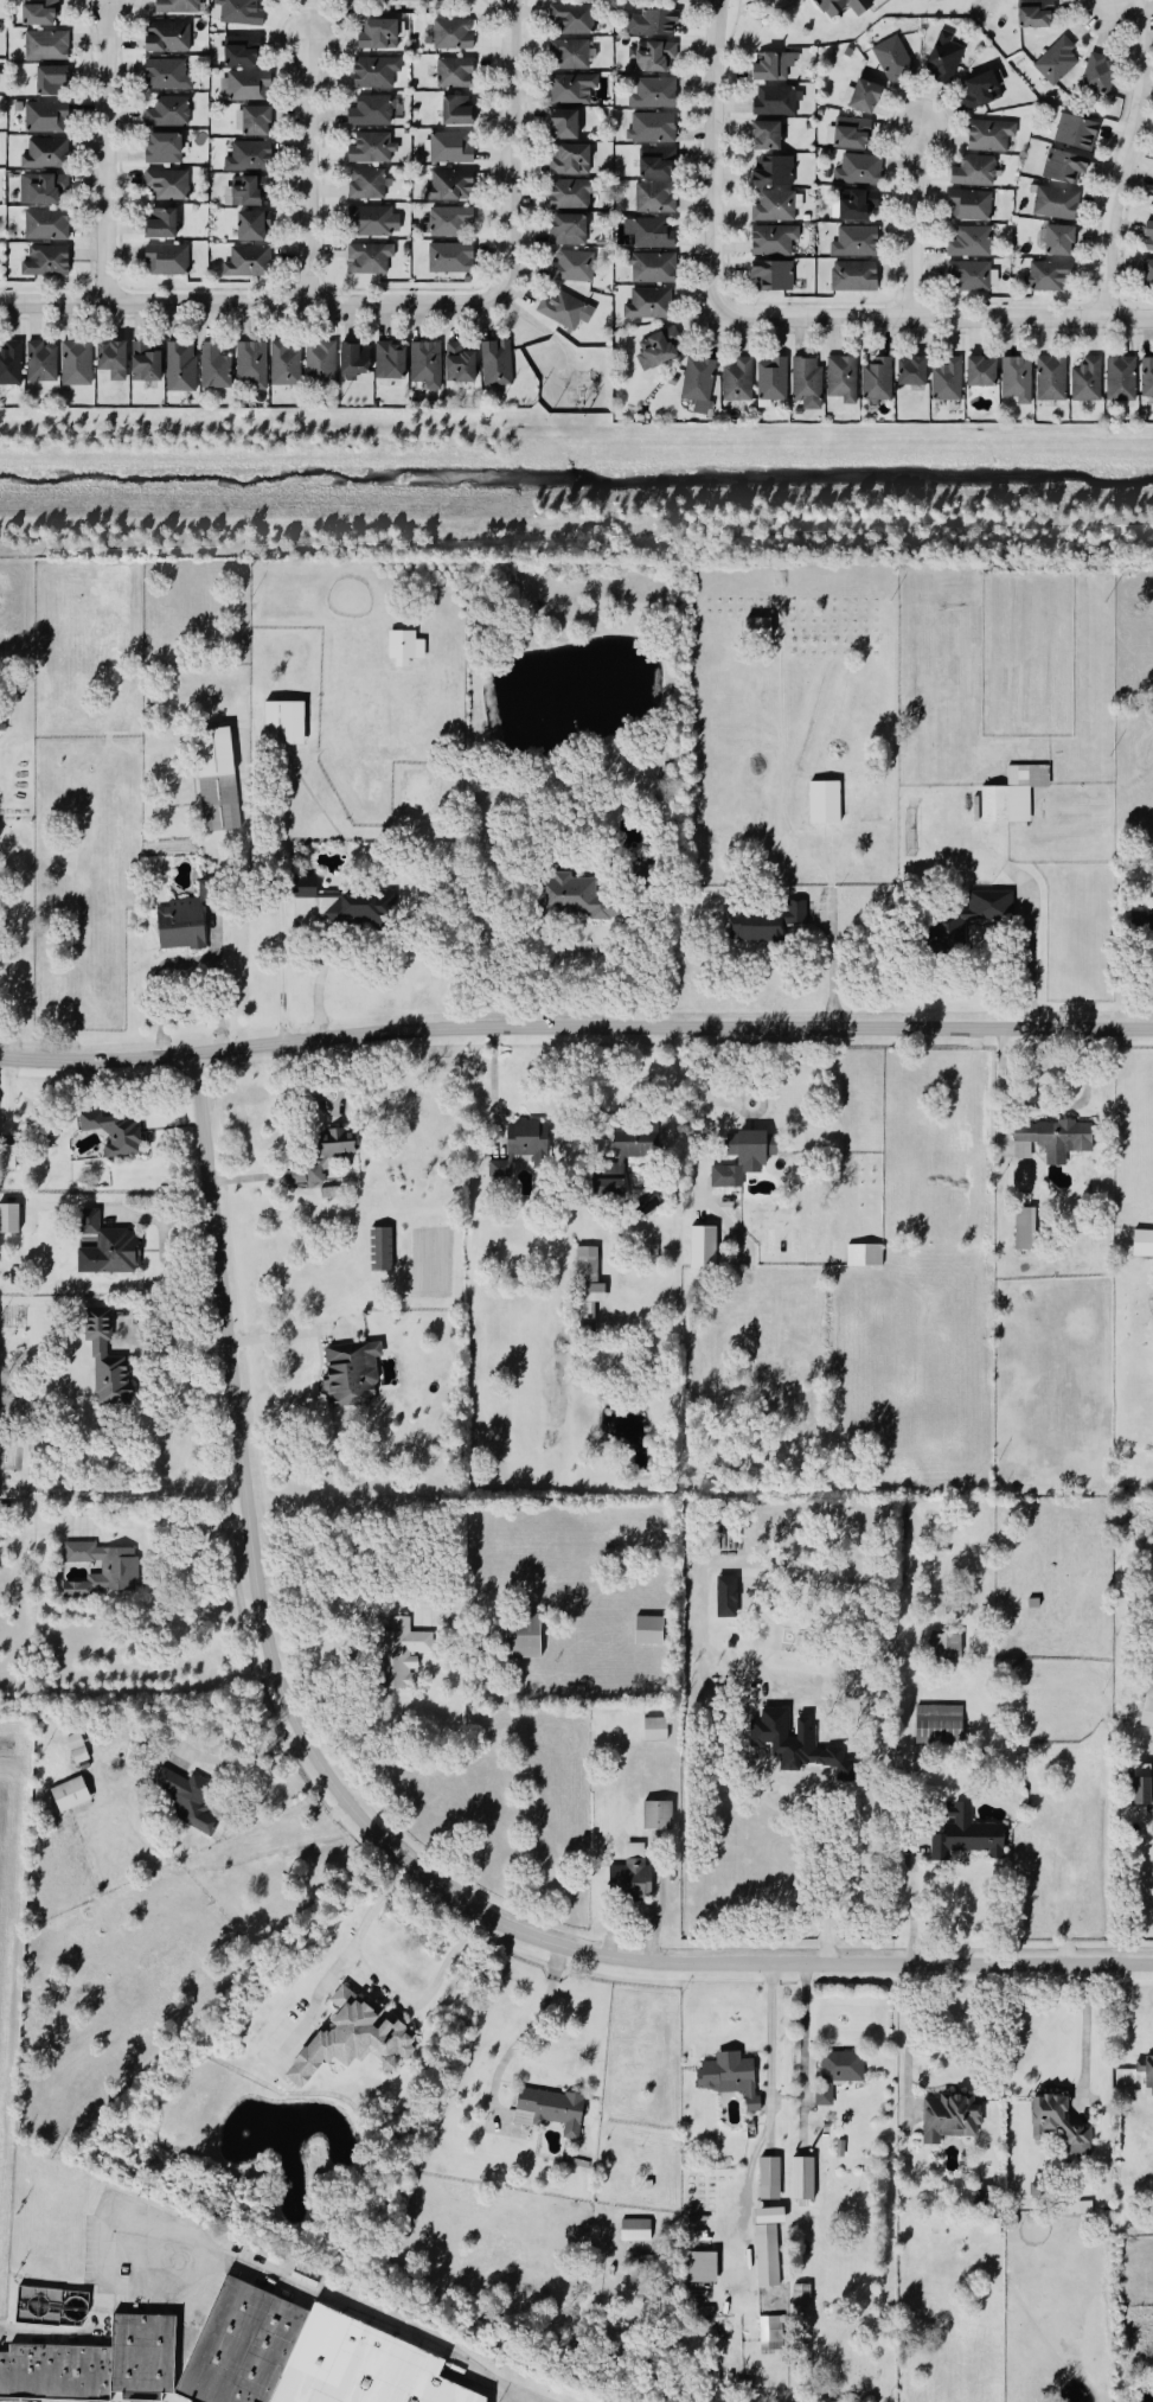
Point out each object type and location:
road: (1120, 5)
building: (178, 6)
building: (844, 6)
building: (39, 12)
building: (241, 12)
building: (1036, 13)
building: (574, 18)
park: (827, 19)
building: (653, 24)
building: (379, 34)
building: (453, 34)
building: (167, 38)
building: (47, 46)
building: (242, 51)
building: (572, 55)
building: (656, 57)
building: (944, 58)
building: (895, 60)
building: (1057, 60)
building: (774, 65)
building: (376, 72)
building: (455, 72)
building: (1100, 74)
building: (167, 75)
building: (51, 81)
building: (244, 87)
building: (572, 89)
building: (982, 89)
building: (654, 94)
building: (863, 96)
building: (777, 101)
building: (457, 110)
building: (373, 111)
building: (168, 113)
building: (46, 117)
building: (257, 121)
building: (565, 124)
building: (652, 128)
building: (1077, 132)
building: (852, 133)
building: (767, 135)
building: (991, 135)
road: (508, 147)
building: (164, 148)
building: (372, 148)
building: (451, 148)
road: (104, 153)
building: (46, 154)
building: (250, 156)
road: (711, 158)
road: (1122, 158)
building: (571, 160)
building: (658, 162)
building: (1065, 166)
building: (859, 170)
building: (775, 171)
building: (975, 171)
road: (306, 173)
building: (168, 184)
building: (369, 185)
building: (450, 186)
building: (43, 187)
building: (246, 190)
building: (572, 193)
building: (655, 198)
building: (1057, 203)
building: (859, 204)
building: (971, 205)
building: (775, 206)
building: (372, 222)
building: (449, 222)
road: (909, 222)
building: (162, 224)
building: (47, 225)
building: (252, 225)
building: (569, 230)
building: (649, 234)
building: (1149, 238)
building: (774, 241)
building: (1061, 241)
building: (856, 242)
building: (971, 243)
building: (370, 258)
building: (451, 258)
building: (168, 260)
building: (46, 261)
building: (248, 262)
building: (574, 267)
building: (653, 268)
building: (775, 275)
building: (1147, 275)
building: (854, 276)
building: (1050, 276)
building: (972, 277)
road: (249, 304)
building: (649, 304)
building: (565, 311)
road: (931, 318)
building: (660, 350)
building: (633, 352)
building: (354, 359)
building: (113, 360)
building: (41, 362)
building: (391, 362)
building: (146, 363)
building: (497, 363)
building: (11, 364)
building: (77, 364)
building: (286, 364)
building: (321, 364)
building: (427, 364)
building: (460, 364)
building: (251, 365)
building: (181, 366)
building: (216, 368)
building: (912, 371)
building: (981, 372)
building: (1147, 378)
building: (878, 379)
building: (1051, 379)
building: (1121, 379)
building: (738, 381)
building: (773, 381)
building: (839, 381)
building: (948, 381)
building: (1014, 381)
building: (1088, 381)
building: (807, 383)
building: (696, 385)
building: (405, 647)
building: (282, 723)
building: (214, 781)
building: (1011, 796)
building: (822, 804)
building: (659, 811)
building: (638, 876)
road: (282, 897)
building: (572, 899)
building: (340, 903)
building: (962, 919)
building: (182, 922)
building: (763, 922)
building: (1145, 925)
road: (1036, 938)
road: (17, 952)
road: (186, 960)
road: (324, 971)
road: (829, 975)
road: (575, 1029)
road: (493, 1084)
road: (706, 1090)
road: (1053, 1112)
building: (114, 1135)
building: (1052, 1138)
building: (525, 1141)
building: (748, 1144)
building: (598, 1146)
building: (6, 1158)
building: (321, 1158)
building: (620, 1158)
building: (498, 1170)
building: (726, 1177)
road: (242, 1183)
building: (9, 1219)
road: (173, 1222)
building: (1023, 1231)
building: (1141, 1245)
building: (109, 1247)
building: (379, 1251)
building: (703, 1257)
building: (863, 1257)
building: (584, 1266)
building: (584, 1320)
road: (280, 1339)
road: (177, 1356)
building: (104, 1365)
building: (347, 1378)
road: (187, 1522)
building: (732, 1539)
building: (103, 1567)
building: (647, 1633)
building: (520, 1637)
building: (943, 1652)
building: (397, 1656)
road: (756, 1656)
road: (354, 1657)
building: (1147, 1707)
building: (786, 1721)
building: (936, 1726)
building: (653, 1731)
building: (1140, 1788)
building: (68, 1795)
road: (809, 1795)
building: (185, 1801)
building: (655, 1816)
road: (911, 1834)
road: (372, 1835)
building: (961, 1835)
road: (235, 1868)
building: (628, 1878)
road: (352, 1933)
road: (419, 1995)
building: (353, 2039)
road: (527, 2039)
road: (908, 2040)
road: (1084, 2044)
road: (770, 2052)
building: (835, 2074)
building: (1147, 2074)
building: (734, 2076)
building: (547, 2112)
building: (947, 2119)
building: (1053, 2123)
building: (768, 2180)
building: (801, 2180)
building: (1078, 2208)
building: (770, 2216)
building: (633, 2232)
building: (763, 2236)
building: (766, 2264)
building: (703, 2267)
building: (802, 2299)
road: (346, 2307)
building: (773, 2331)
road: (24, 2332)
building: (238, 2347)
building: (140, 2356)
building: (358, 2366)
building: (53, 2375)

